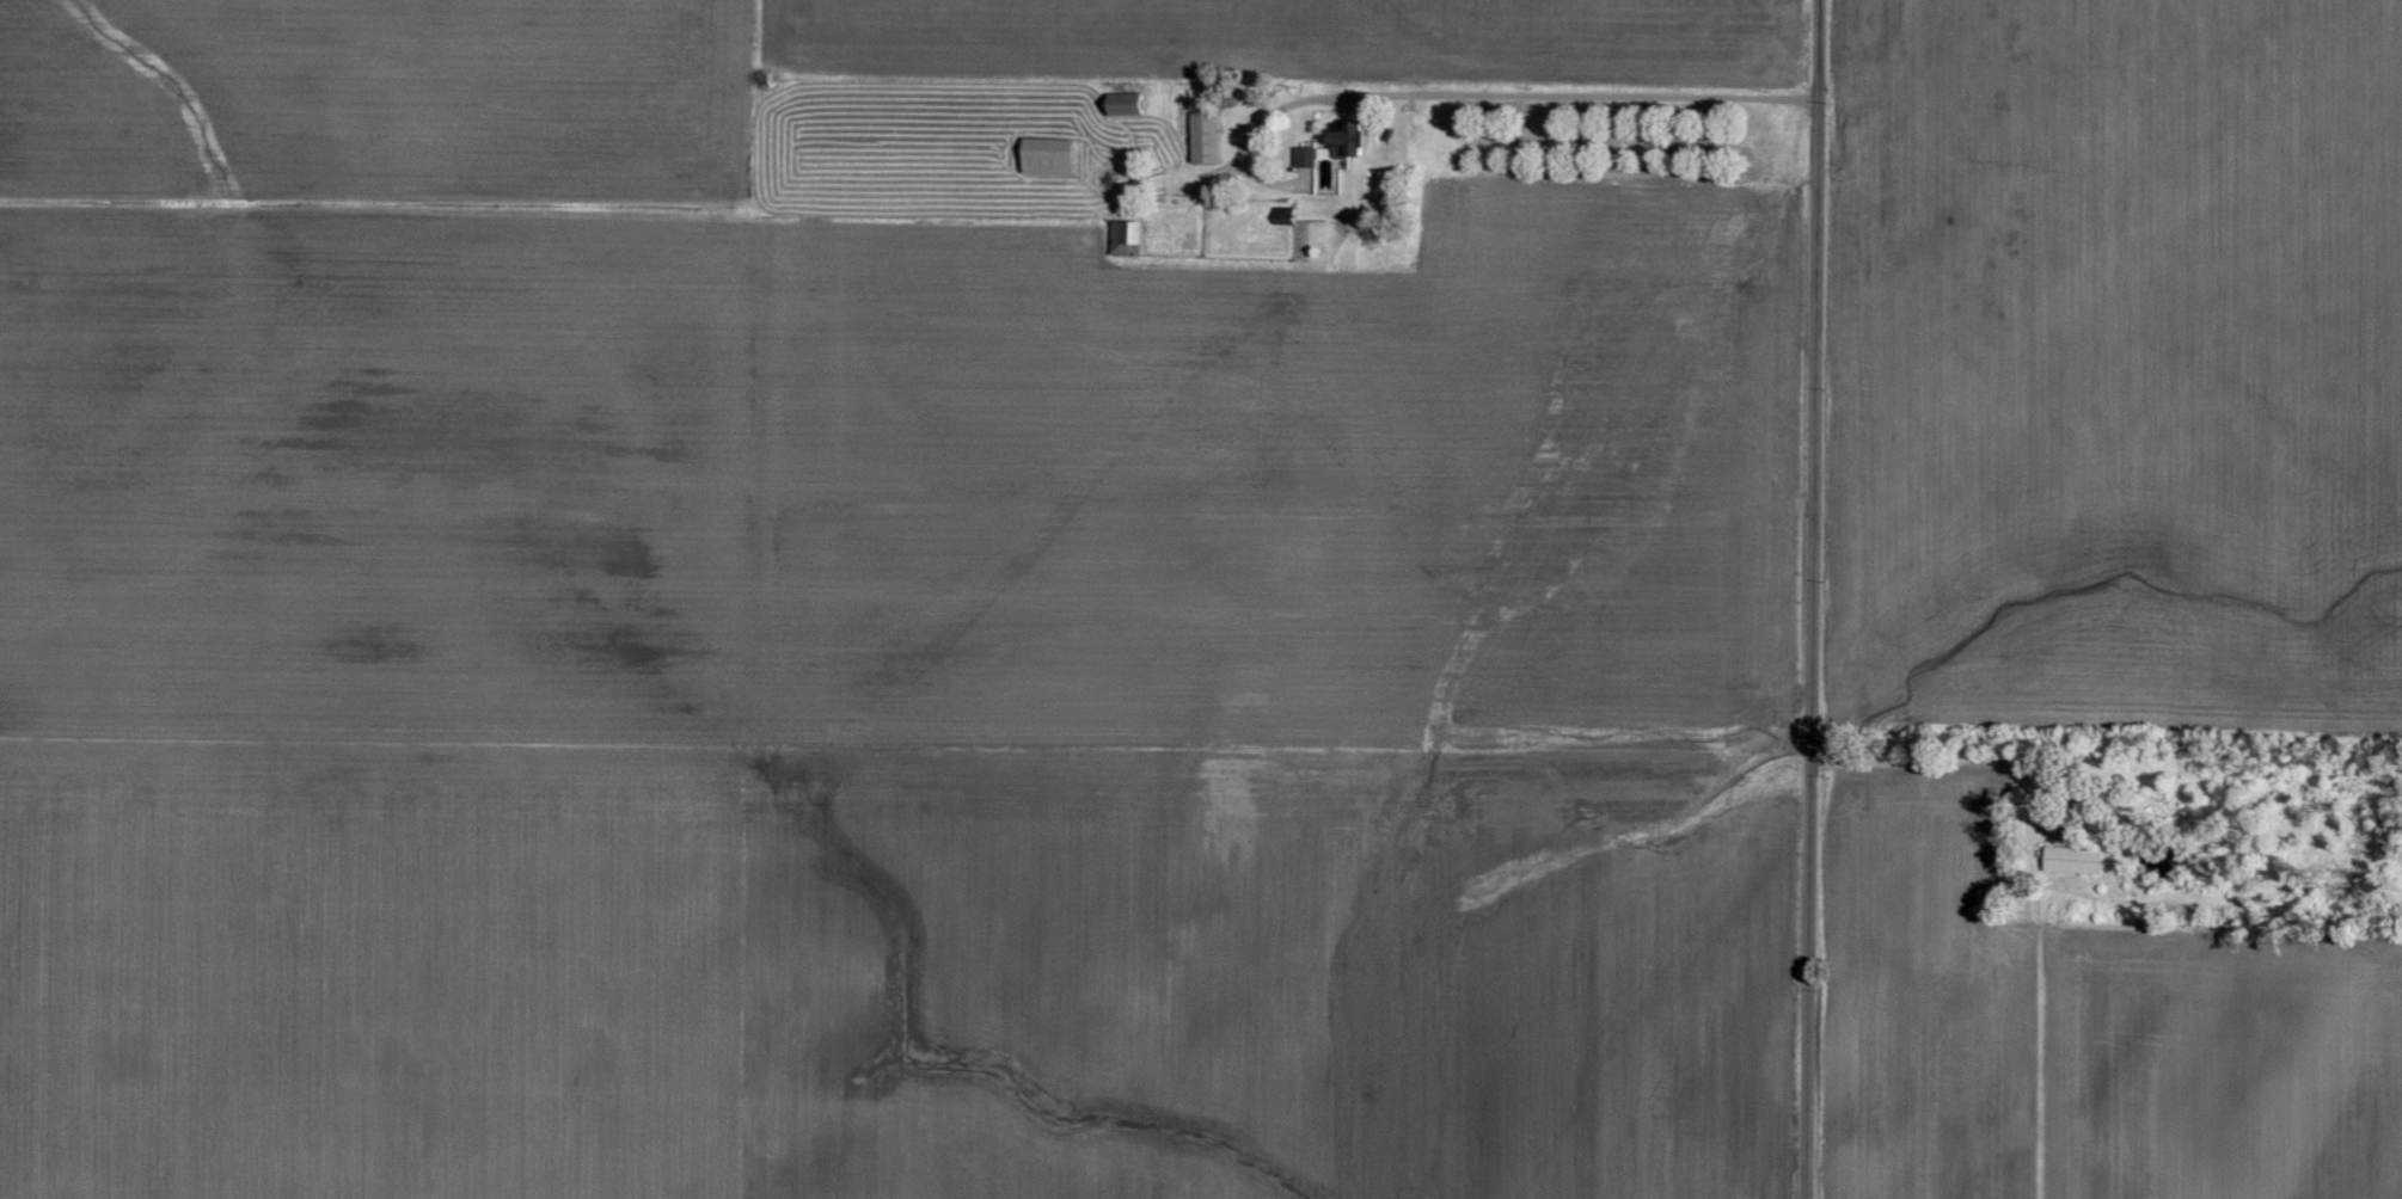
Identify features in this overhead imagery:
road: (1475, 103)
building: (1203, 139)
building: (1326, 147)
building: (1047, 158)
road: (1810, 599)
building: (2072, 860)

